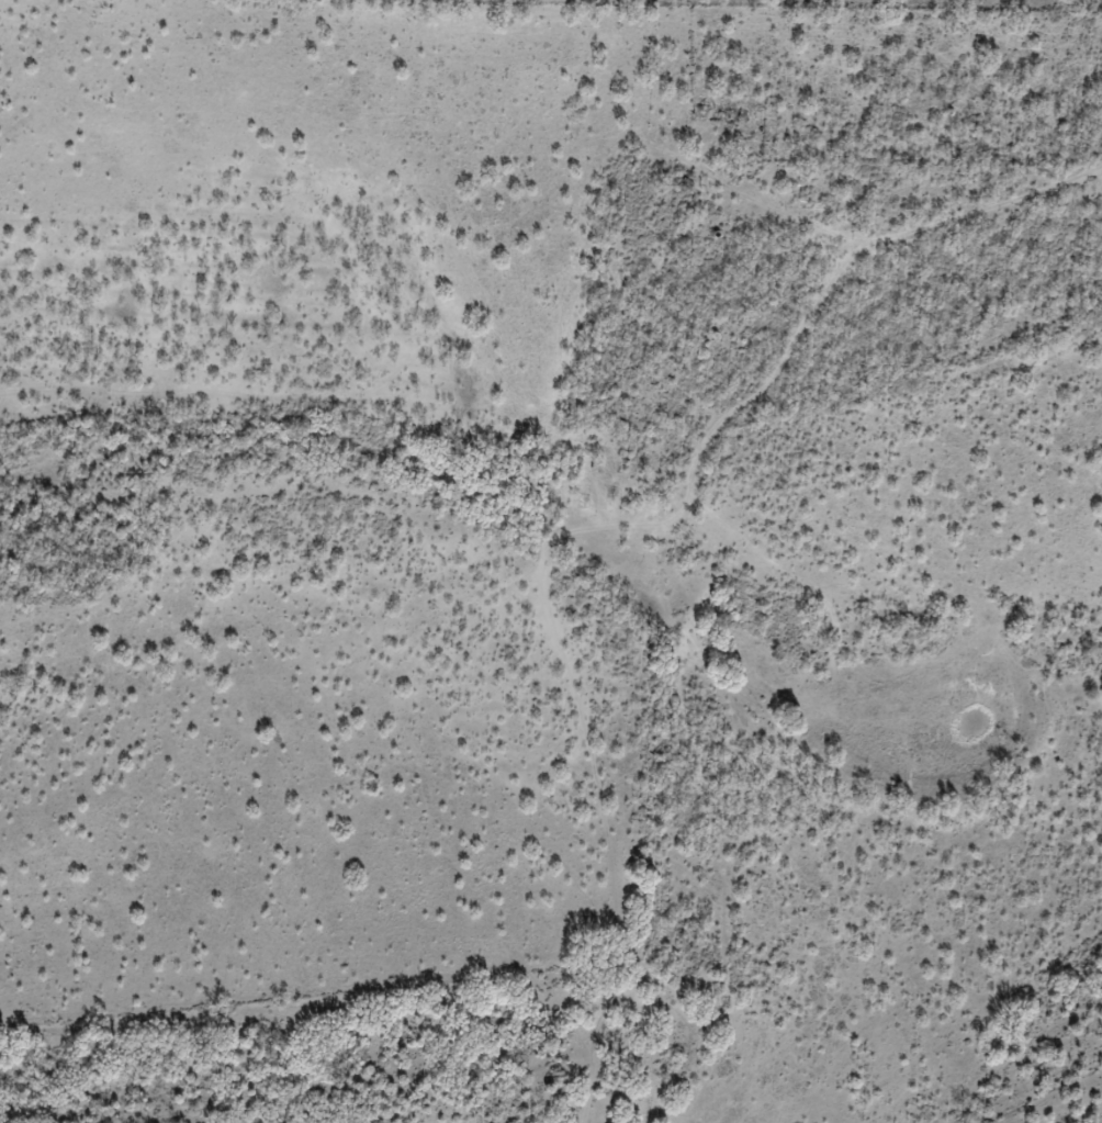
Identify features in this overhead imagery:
road: (910, 257)

